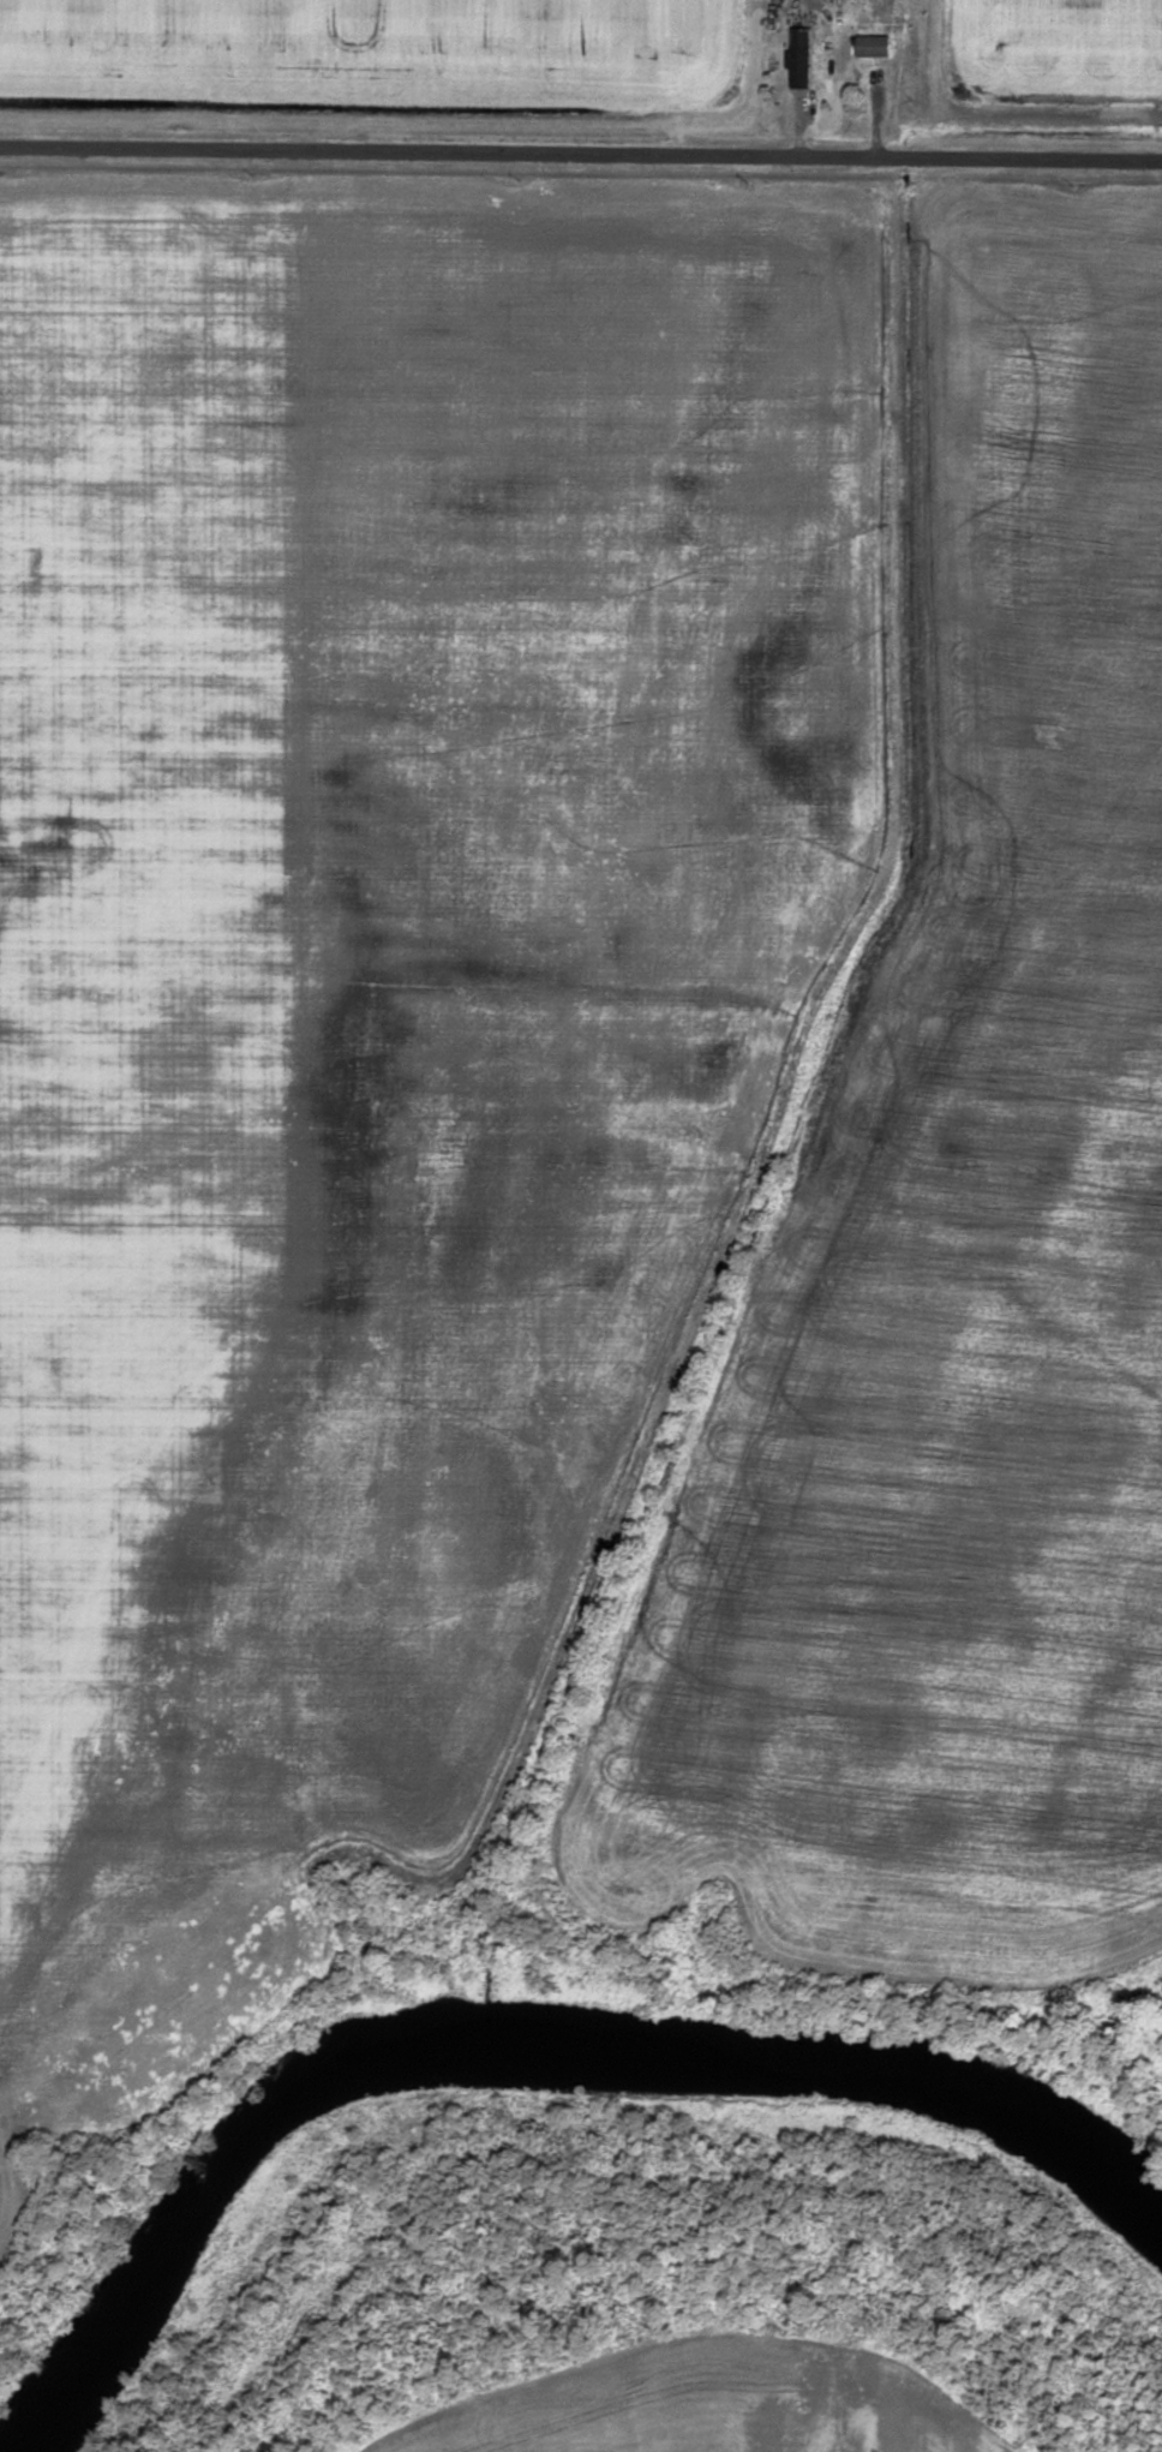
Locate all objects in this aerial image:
building: (875, 44)
building: (801, 58)
road: (581, 154)

